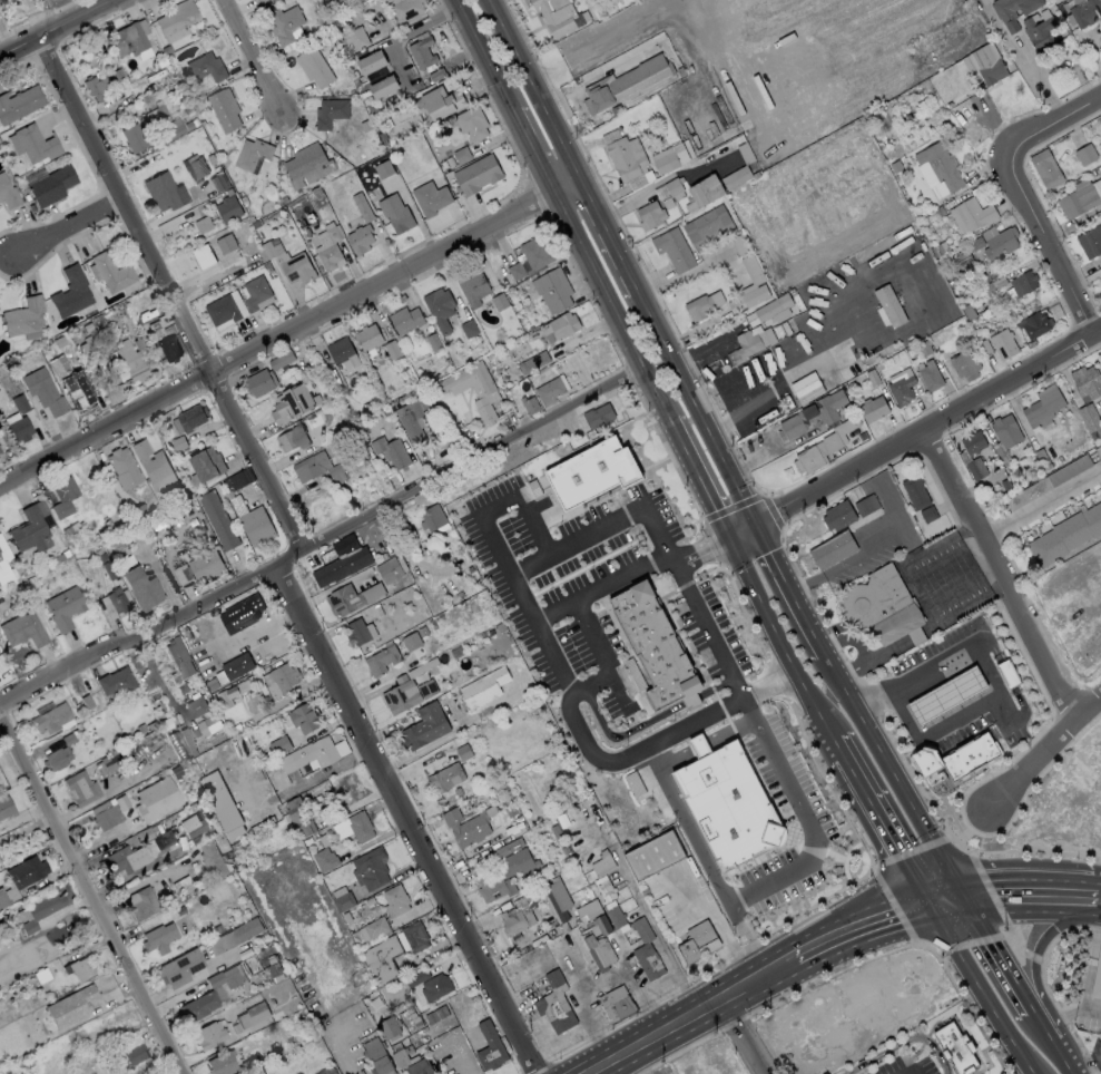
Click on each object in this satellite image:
building: (260, 1)
building: (406, 9)
building: (1013, 10)
building: (1084, 11)
building: (557, 16)
building: (176, 20)
building: (285, 23)
road: (56, 27)
building: (1039, 32)
road: (405, 33)
building: (356, 38)
building: (128, 39)
road: (4, 40)
building: (422, 52)
road: (483, 55)
road: (255, 60)
building: (372, 62)
building: (985, 64)
building: (205, 67)
building: (314, 67)
building: (625, 84)
building: (95, 87)
building: (383, 87)
road: (535, 91)
building: (19, 102)
building: (442, 102)
building: (224, 109)
building: (330, 113)
road: (1053, 118)
building: (472, 124)
building: (132, 138)
building: (36, 143)
building: (252, 154)
road: (533, 154)
building: (626, 156)
building: (669, 158)
building: (306, 164)
building: (941, 164)
building: (195, 168)
building: (383, 168)
building: (1045, 169)
building: (478, 175)
building: (739, 175)
building: (640, 179)
road: (666, 179)
building: (50, 185)
building: (705, 189)
building: (163, 192)
building: (9, 193)
building: (431, 198)
building: (1078, 201)
building: (362, 207)
building: (228, 208)
building: (395, 213)
building: (649, 215)
building: (971, 215)
building: (203, 224)
road: (70, 225)
building: (707, 226)
road: (609, 236)
building: (360, 238)
road: (1050, 240)
building: (1090, 242)
building: (226, 243)
building: (1000, 244)
building: (674, 248)
building: (534, 253)
building: (204, 255)
building: (330, 257)
building: (297, 268)
building: (753, 270)
building: (515, 271)
building: (111, 273)
building: (1022, 282)
building: (473, 289)
building: (552, 290)
building: (256, 292)
building: (70, 293)
road: (169, 294)
building: (748, 299)
building: (499, 301)
building: (889, 305)
building: (698, 306)
building: (439, 309)
road: (611, 309)
building: (222, 310)
building: (770, 311)
building: (22, 318)
building: (404, 320)
building: (562, 324)
building: (1034, 324)
building: (154, 325)
road: (291, 333)
building: (368, 339)
building: (750, 342)
building: (1003, 344)
building: (168, 349)
building: (342, 351)
building: (540, 357)
building: (132, 359)
building: (281, 360)
building: (964, 364)
road: (778, 377)
building: (930, 377)
building: (464, 381)
building: (259, 382)
building: (1087, 382)
building: (902, 390)
building: (42, 391)
building: (76, 391)
building: (548, 391)
building: (293, 402)
building: (19, 403)
building: (530, 404)
building: (1045, 407)
road: (696, 408)
building: (873, 409)
building: (484, 411)
building: (812, 414)
building: (414, 416)
building: (598, 416)
building: (191, 417)
building: (1089, 417)
building: (19, 429)
road: (931, 435)
building: (1005, 435)
building: (293, 439)
building: (974, 442)
building: (0, 452)
building: (391, 452)
building: (815, 453)
building: (207, 463)
building: (151, 466)
building: (315, 467)
building: (122, 468)
building: (592, 472)
road: (698, 479)
building: (916, 492)
building: (63, 497)
road: (518, 501)
road: (1042, 502)
building: (837, 516)
building: (431, 517)
building: (218, 520)
building: (256, 526)
building: (30, 528)
road: (741, 531)
building: (1065, 535)
road: (323, 540)
building: (833, 549)
road: (704, 550)
building: (3, 564)
building: (205, 566)
road: (529, 566)
building: (335, 569)
building: (390, 569)
road: (1004, 576)
road: (790, 588)
building: (140, 589)
building: (116, 601)
building: (343, 601)
road: (552, 607)
building: (882, 607)
building: (63, 608)
building: (244, 609)
building: (22, 631)
road: (711, 631)
building: (360, 632)
road: (783, 637)
building: (407, 643)
road: (973, 643)
building: (655, 645)
building: (179, 657)
building: (382, 661)
building: (237, 666)
building: (1007, 673)
building: (282, 680)
building: (479, 681)
building: (116, 683)
road: (773, 684)
building: (427, 689)
road: (568, 691)
building: (401, 694)
building: (947, 695)
building: (226, 696)
gas station: (961, 701)
building: (196, 707)
road: (749, 707)
building: (304, 717)
building: (52, 720)
building: (208, 725)
building: (424, 728)
road: (729, 729)
road: (932, 730)
building: (181, 743)
road: (698, 744)
building: (279, 745)
building: (699, 745)
road: (842, 748)
road: (1044, 752)
building: (308, 755)
road: (674, 756)
building: (56, 759)
building: (955, 760)
building: (109, 762)
road: (889, 765)
building: (445, 778)
road: (960, 781)
building: (79, 788)
building: (155, 799)
building: (220, 804)
building: (4, 807)
building: (729, 807)
road: (950, 811)
road: (955, 812)
building: (105, 816)
building: (298, 818)
road: (407, 820)
road: (881, 821)
building: (191, 824)
building: (468, 826)
road: (810, 827)
building: (354, 828)
road: (924, 843)
building: (653, 856)
road: (707, 857)
building: (325, 859)
building: (125, 860)
building: (210, 860)
building: (517, 862)
building: (602, 863)
building: (371, 869)
building: (20, 878)
traffic signals: (956, 880)
road: (1026, 880)
road: (936, 882)
traffic signals: (916, 885)
building: (494, 886)
road: (1099, 890)
road: (92, 891)
building: (396, 899)
building: (558, 899)
building: (140, 904)
building: (40, 910)
building: (602, 917)
road: (855, 919)
building: (514, 921)
building: (374, 928)
building: (642, 929)
building: (233, 936)
road: (1039, 936)
building: (413, 937)
building: (157, 938)
building: (697, 943)
road: (992, 945)
building: (599, 951)
building: (382, 959)
building: (649, 963)
building: (179, 968)
building: (77, 969)
building: (1095, 974)
building: (40, 976)
road: (973, 979)
road: (600, 983)
building: (435, 987)
building: (210, 994)
building: (557, 1005)
building: (618, 1005)
building: (70, 1006)
building: (252, 1012)
road: (686, 1014)
road: (1043, 1025)
building: (389, 1027)
building: (208, 1035)
road: (736, 1035)
road: (706, 1043)
road: (904, 1044)
building: (957, 1046)
building: (489, 1047)
road: (340, 1051)
building: (132, 1055)
building: (376, 1056)
road: (1066, 1057)
road: (632, 1061)
building: (410, 1062)
building: (220, 1064)
parking lot: (908, 1064)
road: (1089, 1068)
building: (321, 1073)
parking lot: (1000, 1073)

